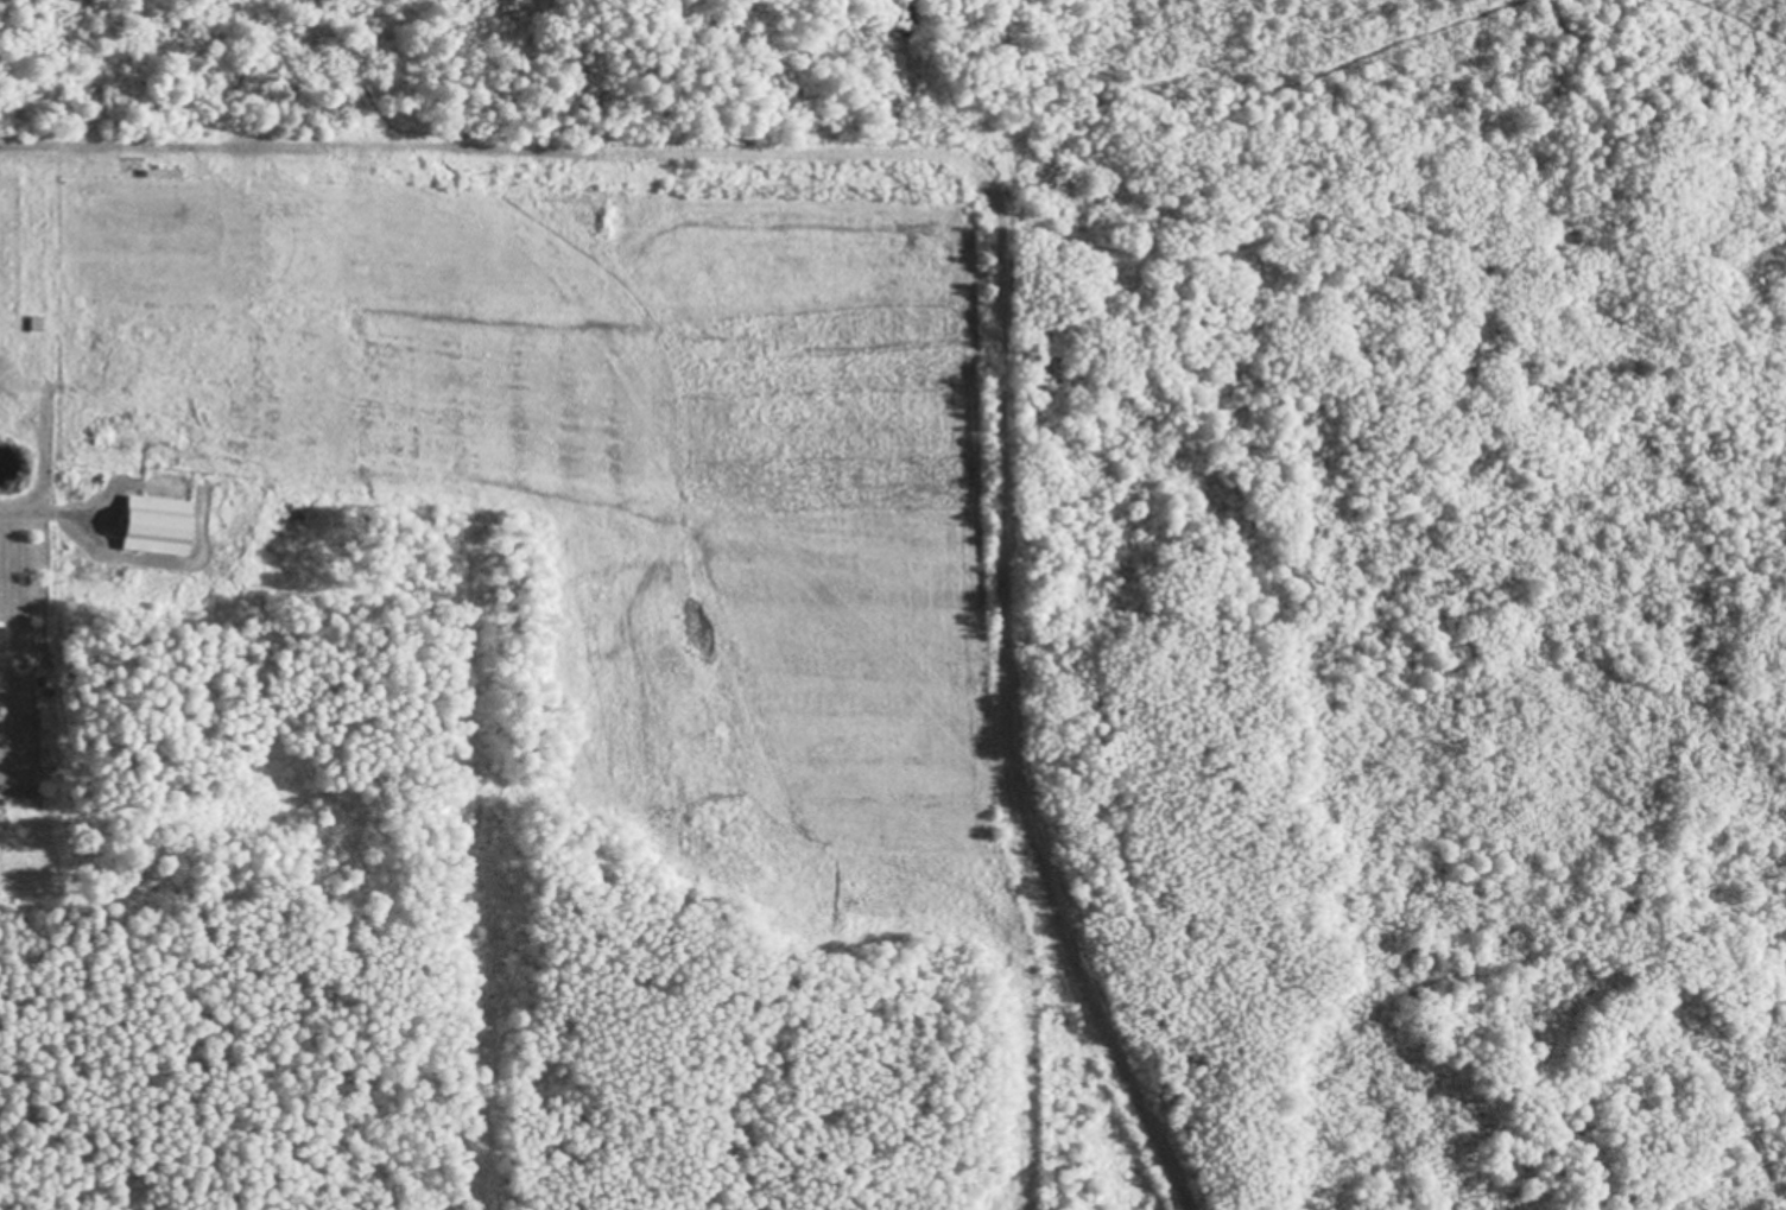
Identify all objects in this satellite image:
building: (37, 323)
building: (158, 527)
building: (1, 641)

